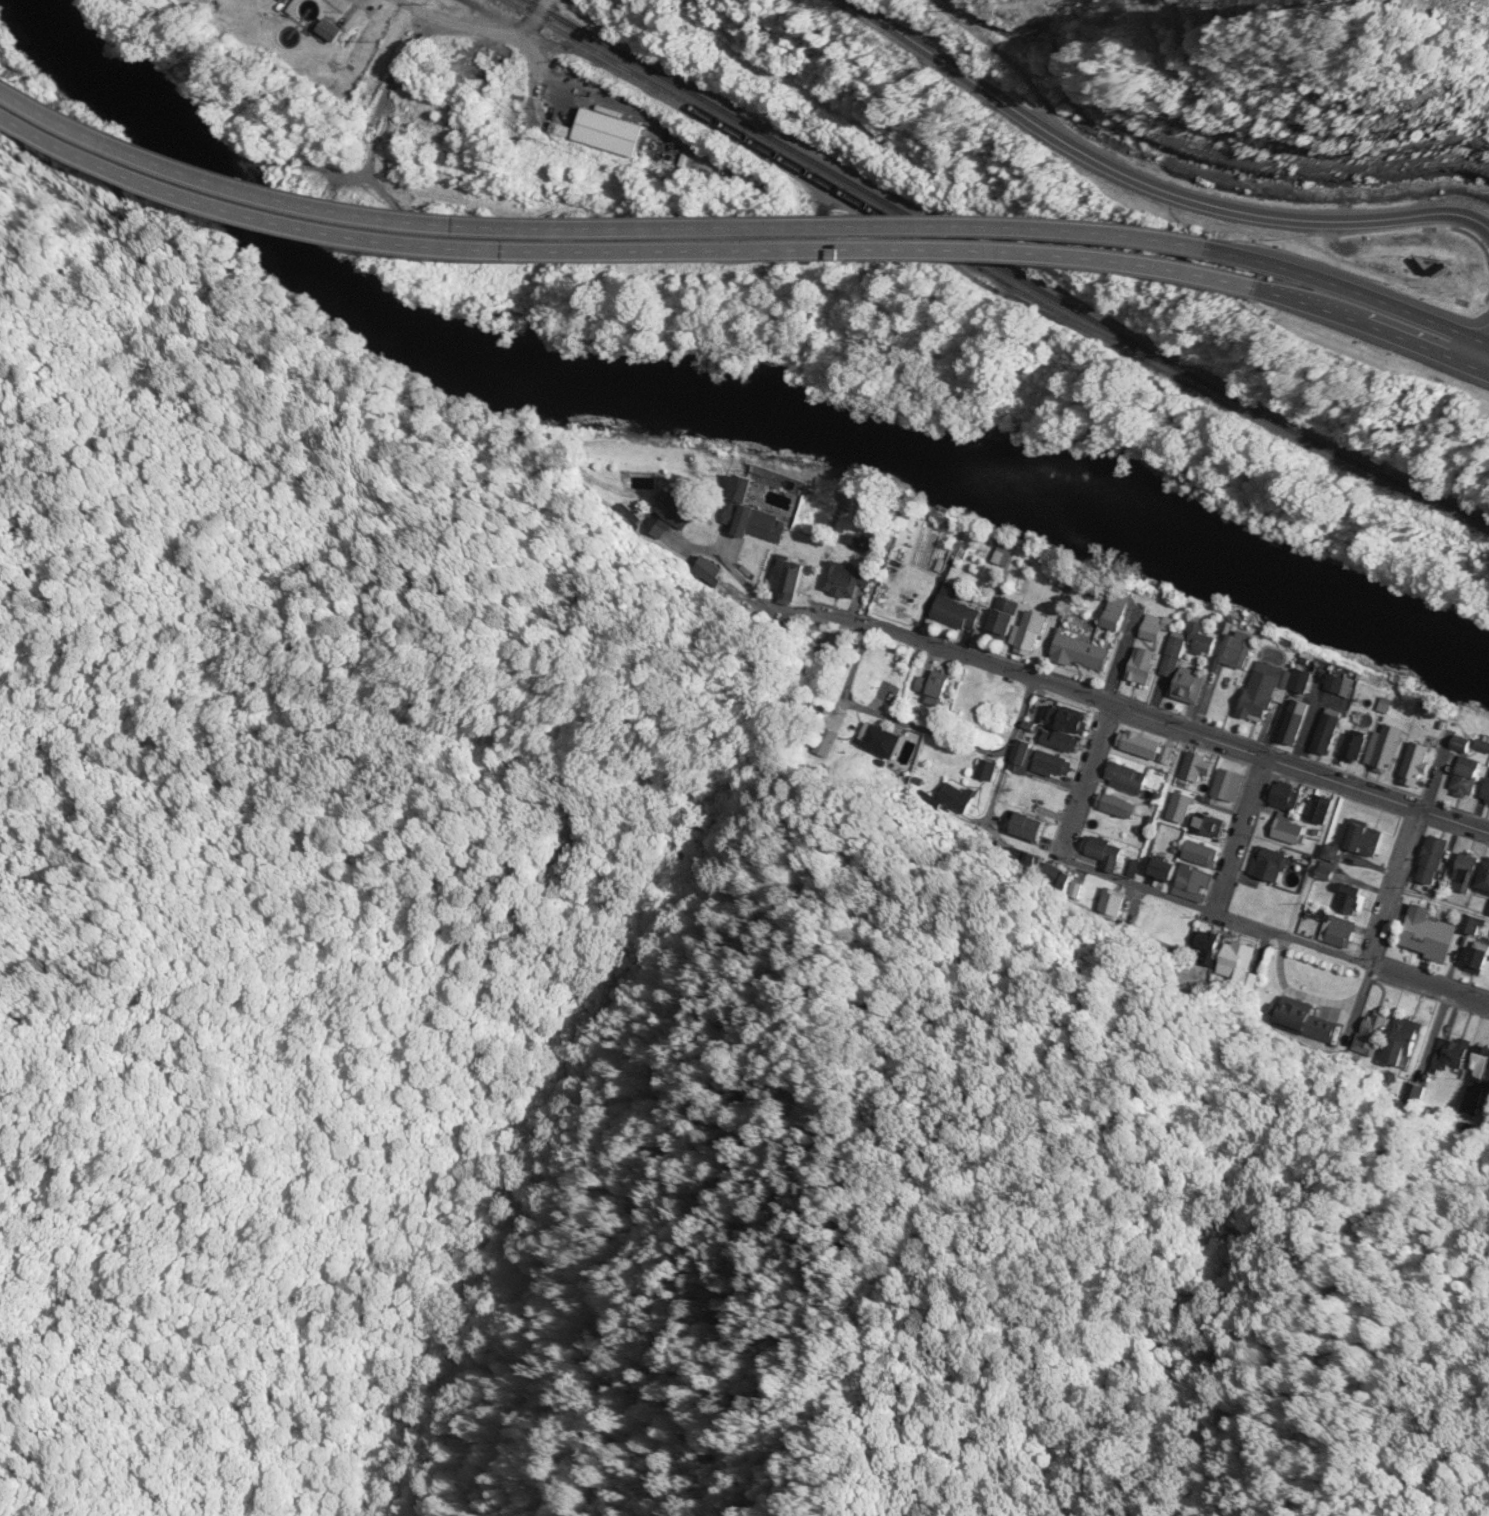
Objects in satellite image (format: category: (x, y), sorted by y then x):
road: (451, 26)
building: (328, 29)
building: (612, 132)
road: (1201, 205)
road: (598, 237)
road: (623, 258)
railway: (995, 265)
road: (1359, 292)
road: (1379, 334)
river: (714, 400)
building: (650, 481)
building: (673, 515)
building: (766, 516)
building: (865, 538)
building: (1014, 553)
building: (745, 555)
building: (798, 575)
building: (859, 581)
building: (1067, 588)
building: (1086, 598)
building: (969, 609)
building: (1115, 609)
building: (1012, 621)
building: (1129, 622)
building: (1180, 624)
building: (1237, 626)
building: (1161, 628)
building: (1040, 630)
building: (1200, 639)
building: (1211, 640)
building: (1234, 649)
building: (1249, 650)
building: (1092, 653)
building: (1172, 655)
building: (1183, 656)
building: (1141, 664)
building: (1153, 666)
road: (877, 669)
building: (1311, 679)
building: (1298, 680)
building: (1199, 684)
building: (1349, 685)
building: (945, 689)
building: (1273, 692)
road: (1156, 706)
building: (1395, 706)
road: (1146, 715)
building: (1070, 717)
building: (1292, 721)
building: (1304, 721)
building: (1453, 725)
building: (1326, 730)
road: (939, 731)
building: (1338, 732)
road: (1020, 735)
building: (879, 738)
building: (1064, 740)
building: (1152, 746)
building: (1352, 746)
building: (1383, 746)
building: (1474, 746)
building: (1487, 746)
building: (1396, 747)
building: (1364, 748)
building: (1027, 756)
building: (1054, 763)
road: (1267, 763)
building: (1414, 763)
building: (1427, 764)
building: (1202, 769)
building: (990, 771)
building: (1132, 776)
building: (1465, 776)
road: (1085, 779)
building: (1476, 780)
building: (1235, 785)
building: (956, 794)
building: (1288, 794)
building: (1118, 805)
building: (1186, 805)
building: (1325, 808)
building: (1035, 825)
building: (1214, 825)
building: (1295, 831)
road: (1242, 834)
building: (1373, 838)
building: (1105, 849)
building: (1205, 853)
building: (1338, 855)
building: (1440, 859)
building: (1273, 863)
road: (1224, 864)
building: (1167, 868)
building: (1061, 870)
building: (1473, 872)
building: (1331, 873)
building: (1483, 879)
road: (1137, 883)
building: (1195, 884)
road: (1397, 885)
building: (1357, 900)
building: (1114, 901)
road: (1224, 907)
road: (1398, 911)
building: (1488, 913)
building: (1324, 915)
building: (1479, 924)
building: (1435, 934)
building: (1343, 937)
building: (1206, 943)
road: (1376, 953)
building: (1232, 955)
road: (1351, 955)
building: (1482, 961)
building: (1320, 1025)
building: (1374, 1027)
building: (1406, 1033)
building: (1453, 1053)
building: (1480, 1060)

